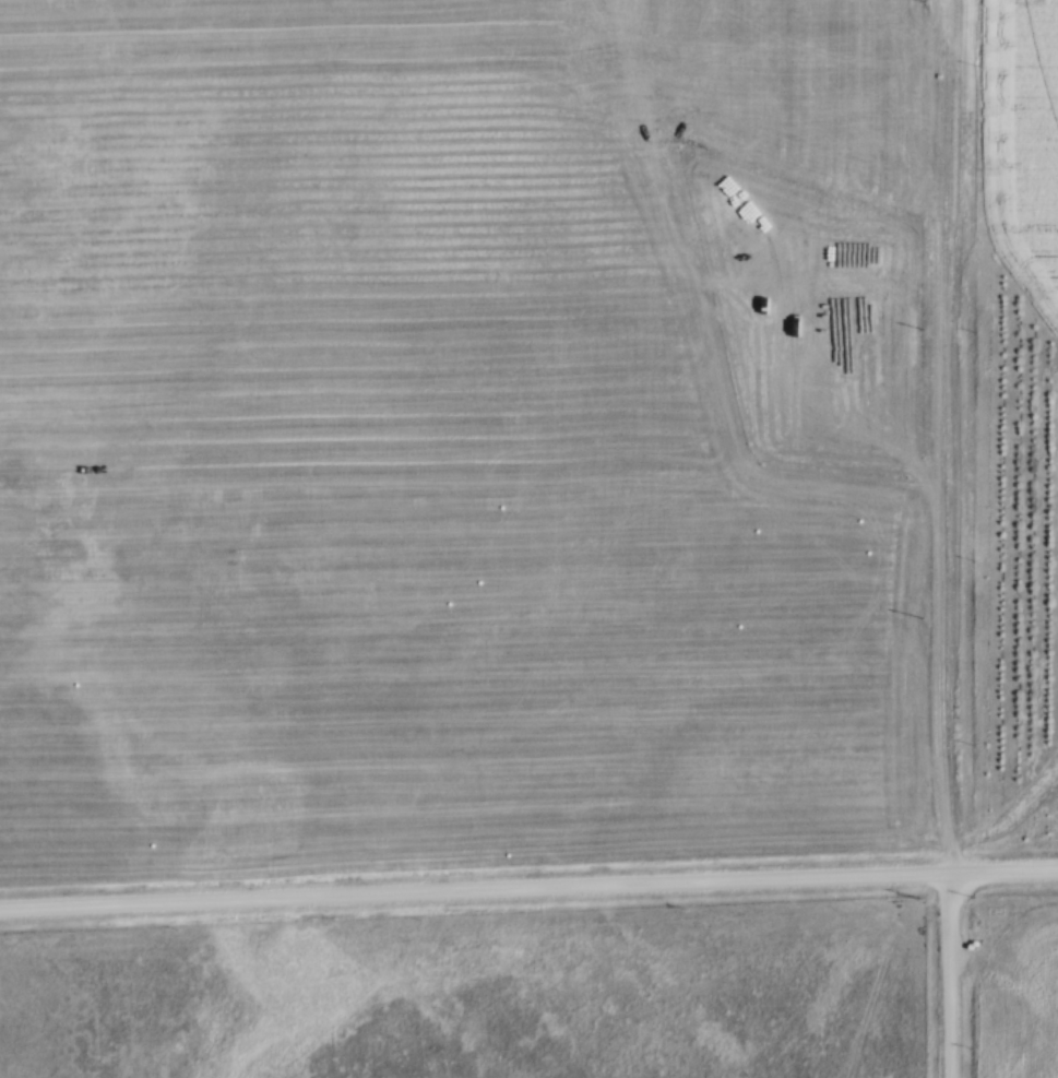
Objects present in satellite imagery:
road: (944, 538)
road: (528, 886)

